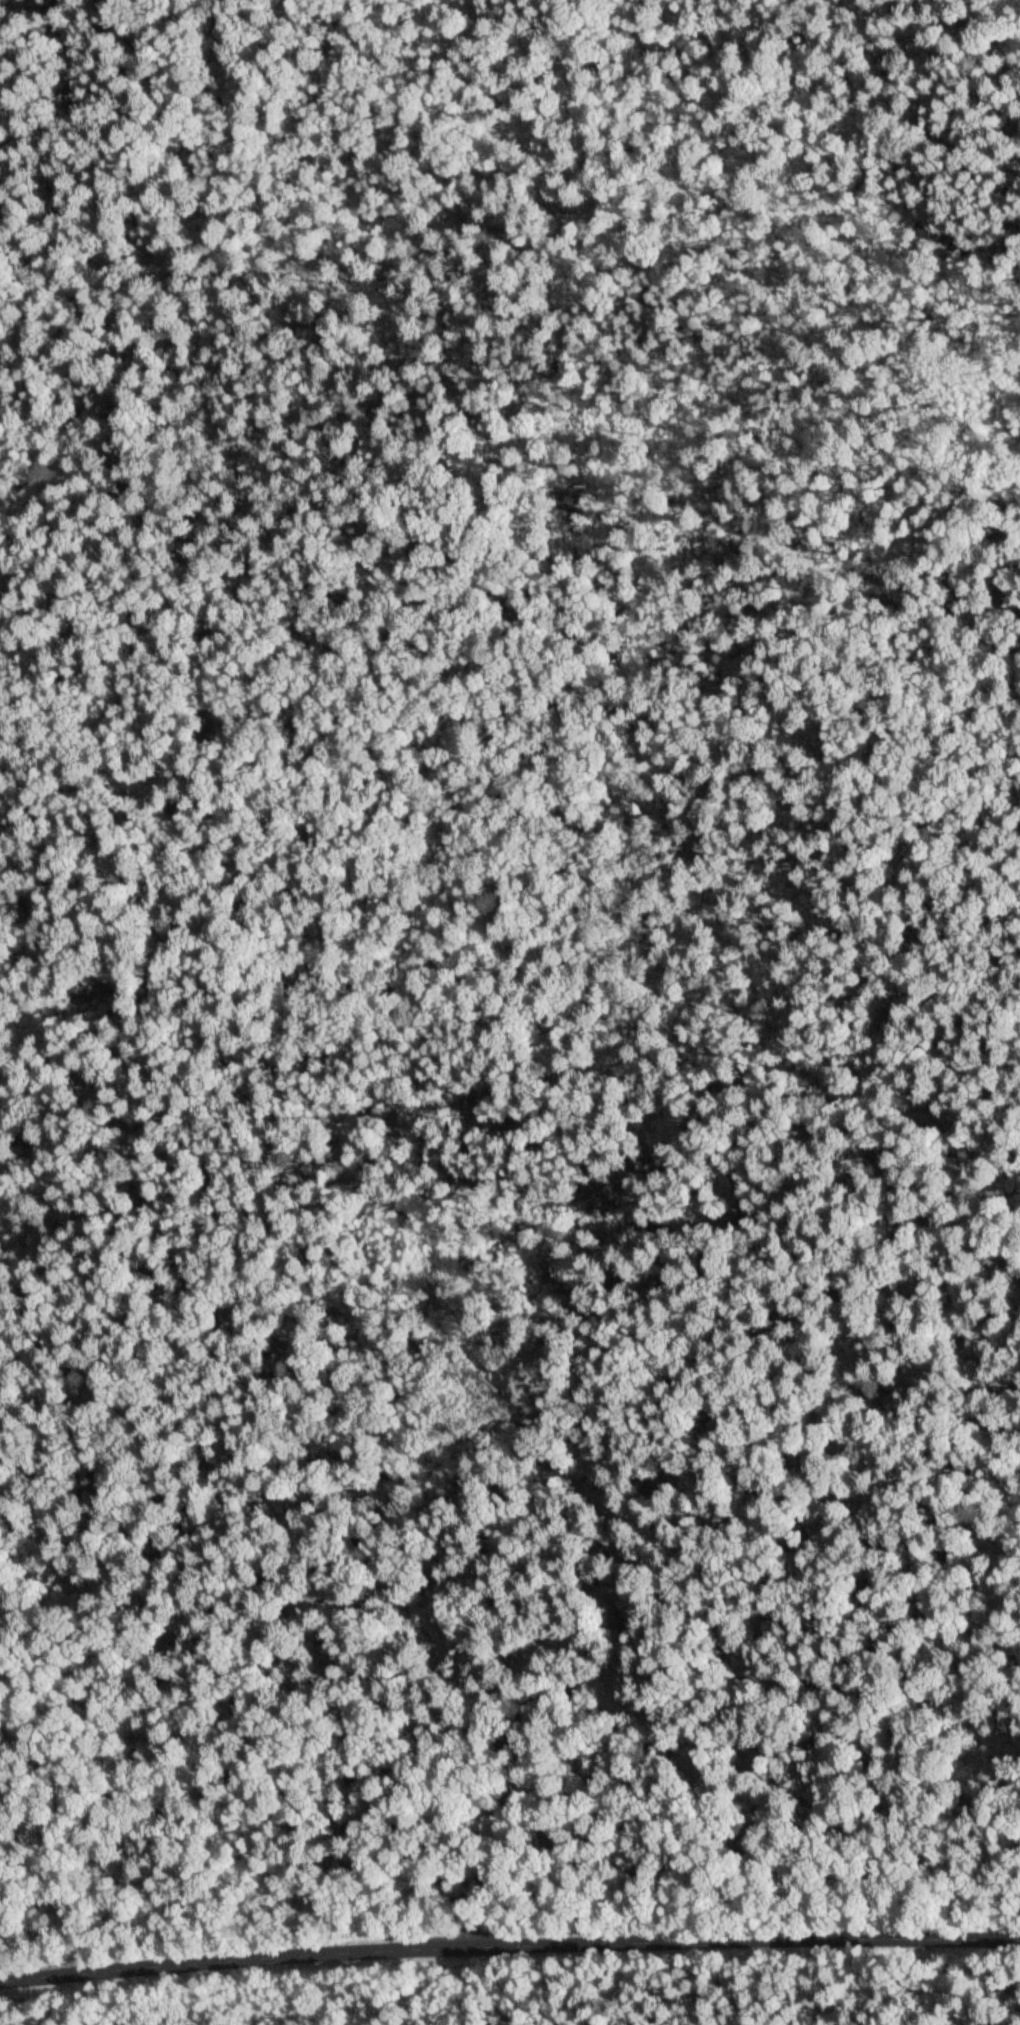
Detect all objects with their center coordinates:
road: (509, 1948)

